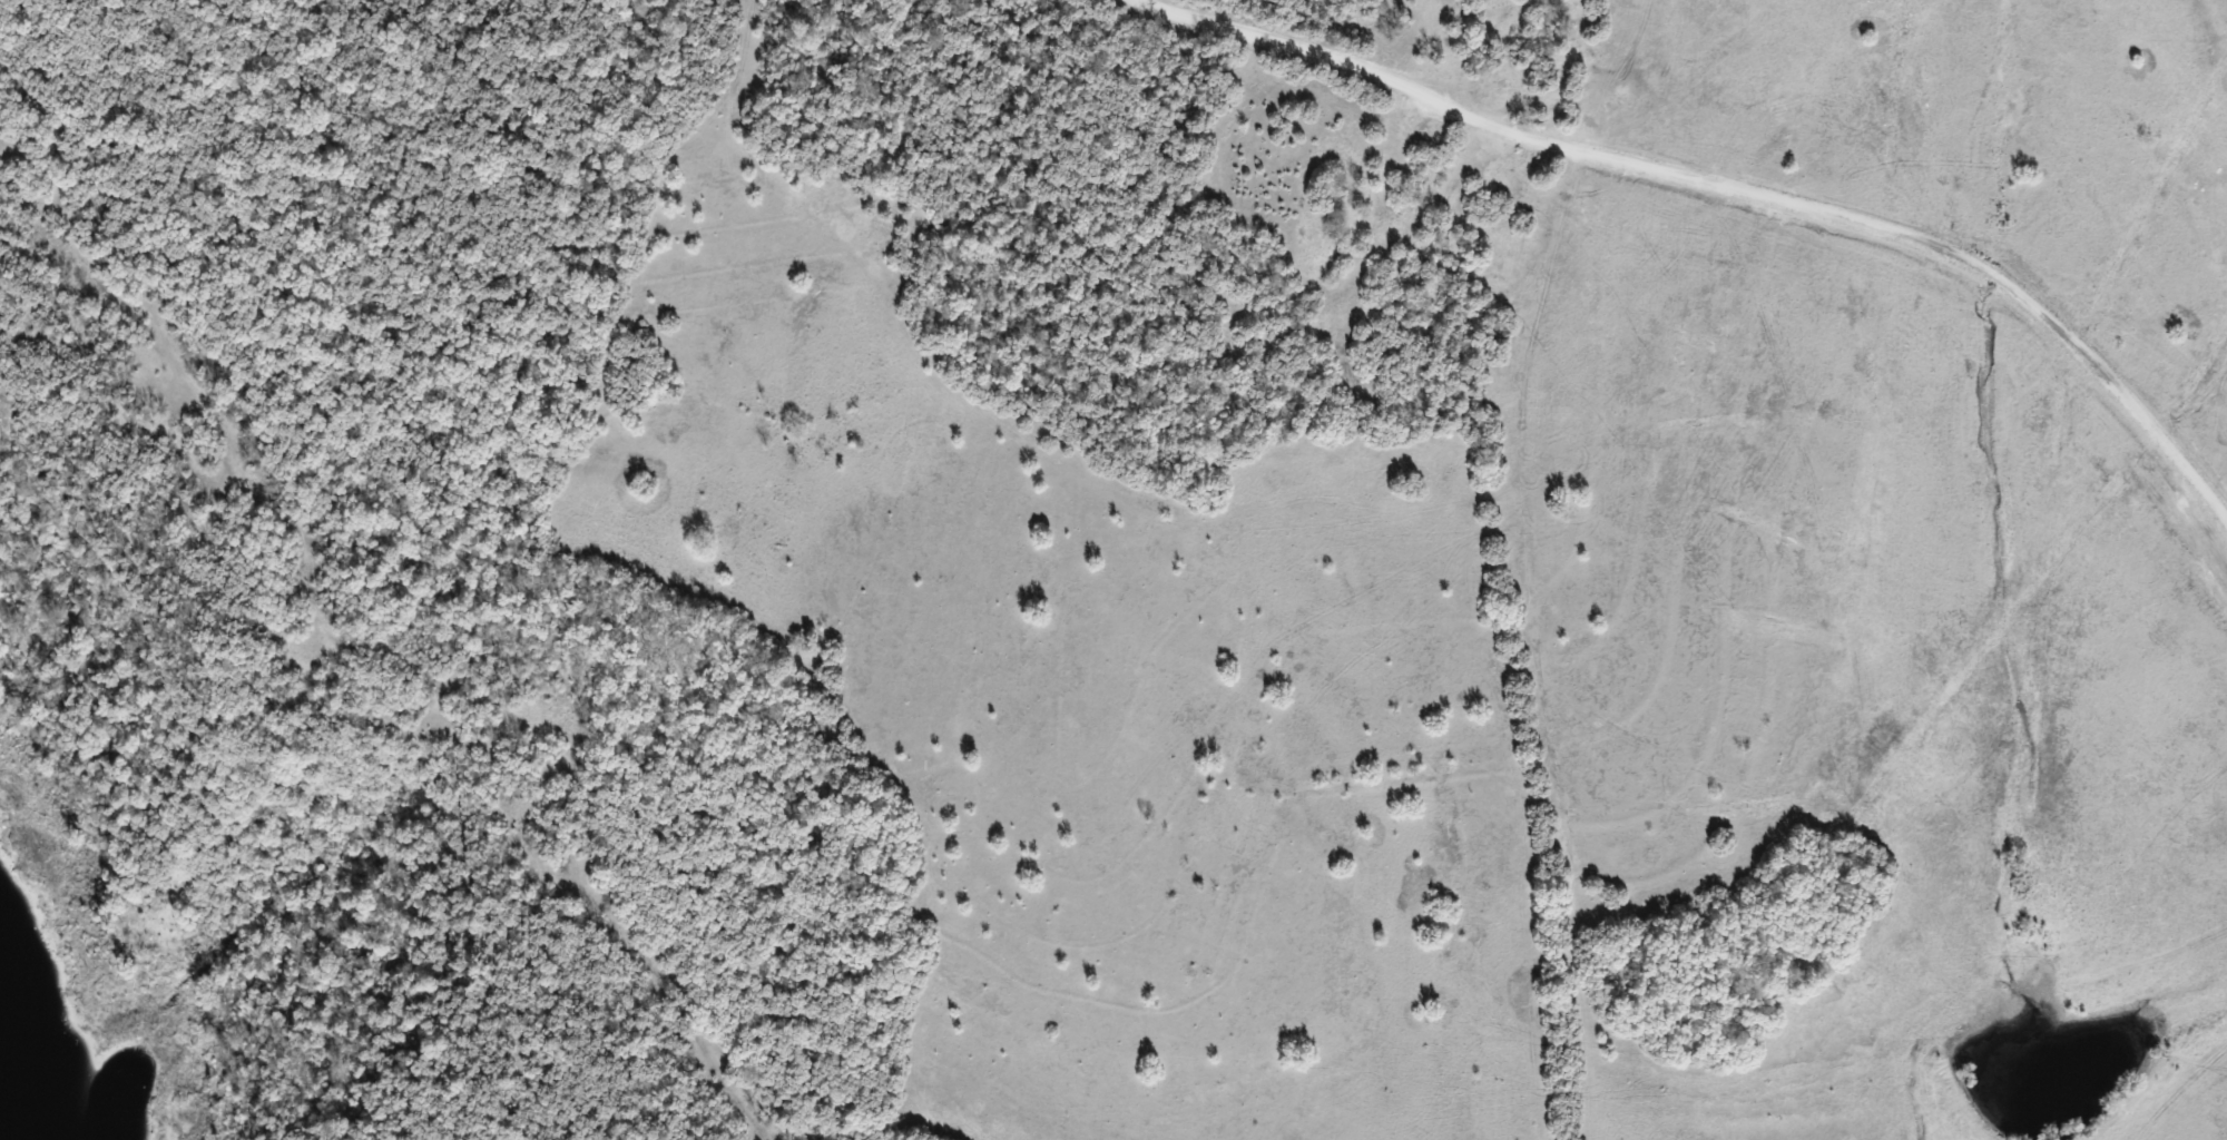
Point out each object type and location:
road: (1740, 185)

